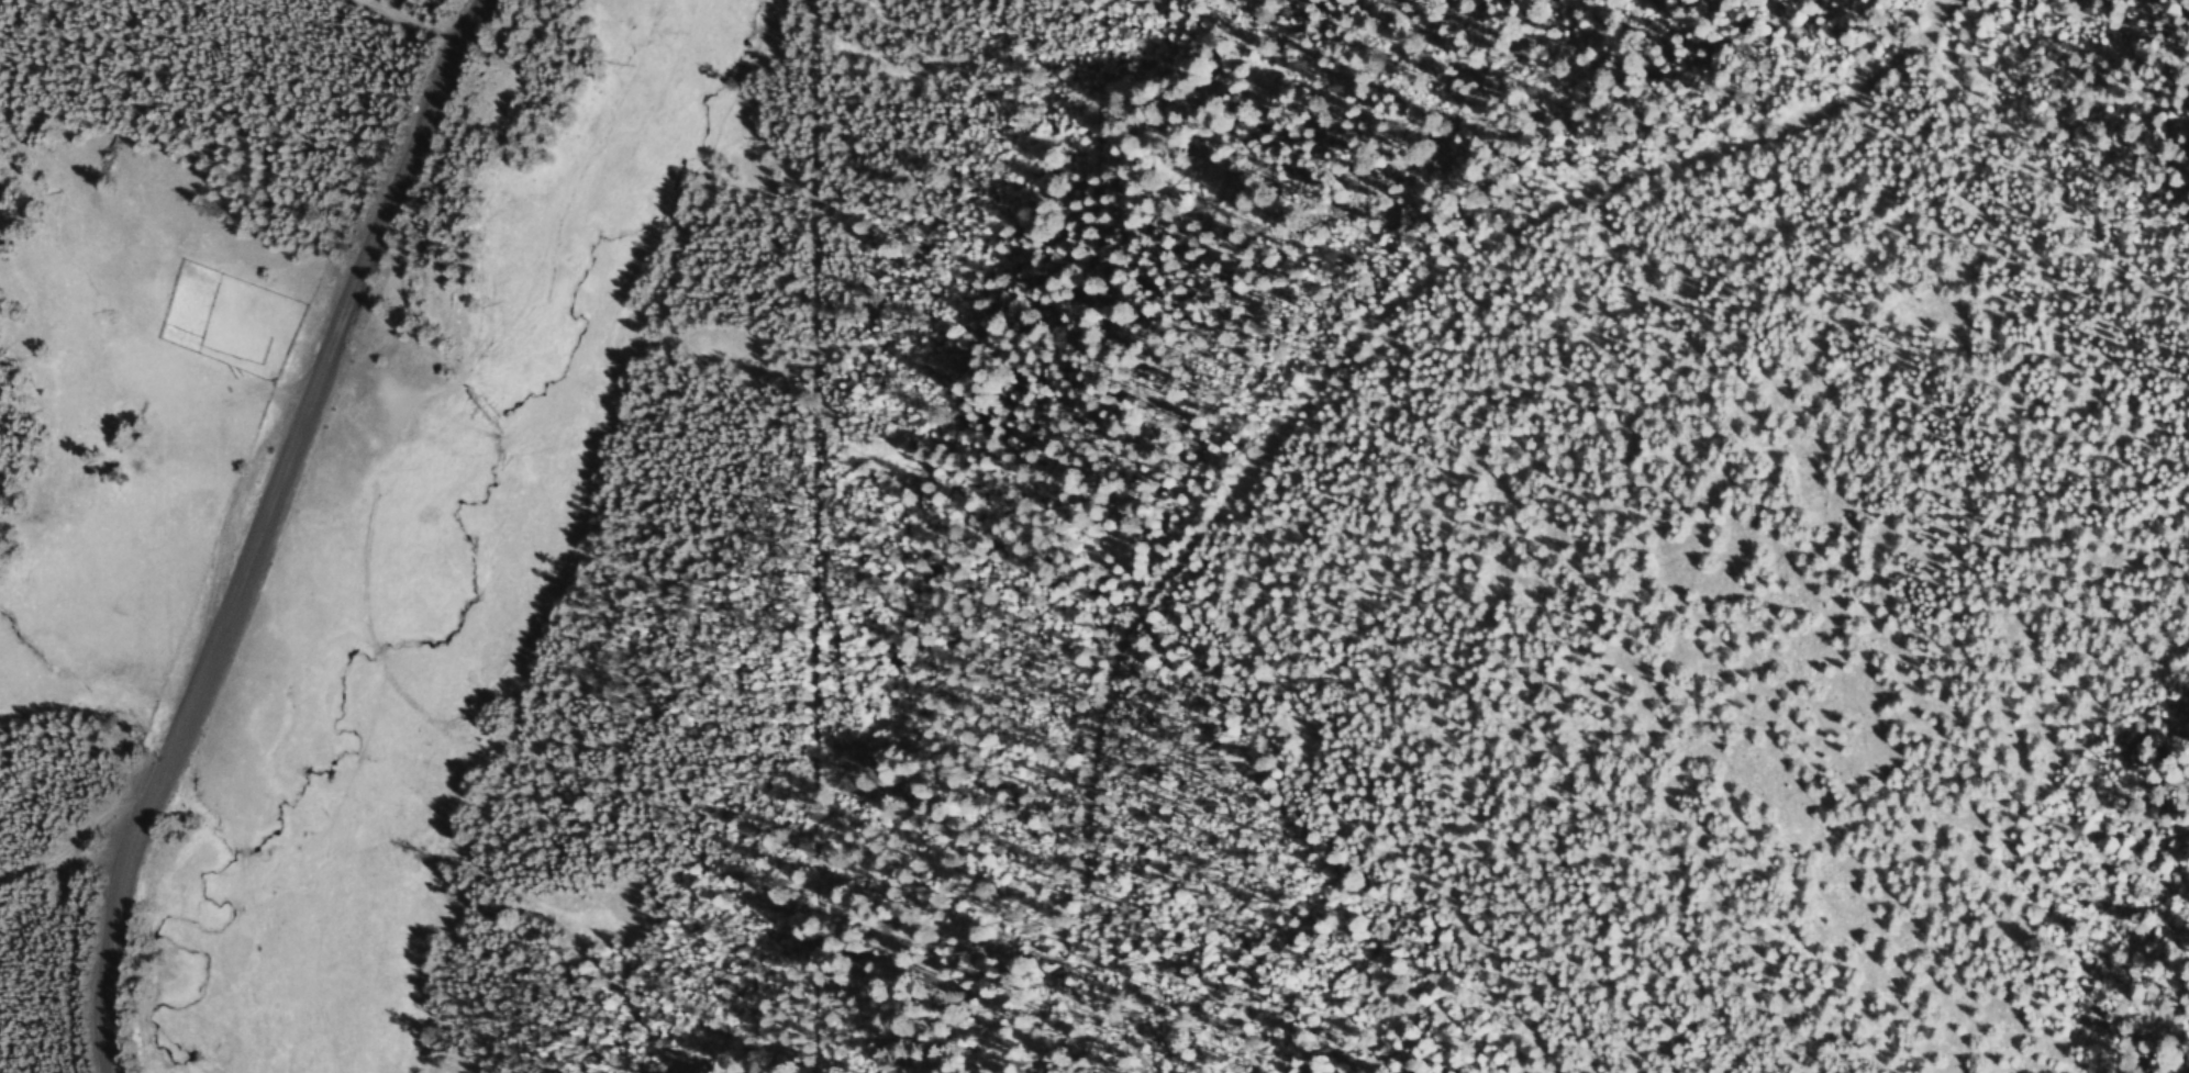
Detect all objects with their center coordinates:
road: (423, 16)
road: (263, 526)

